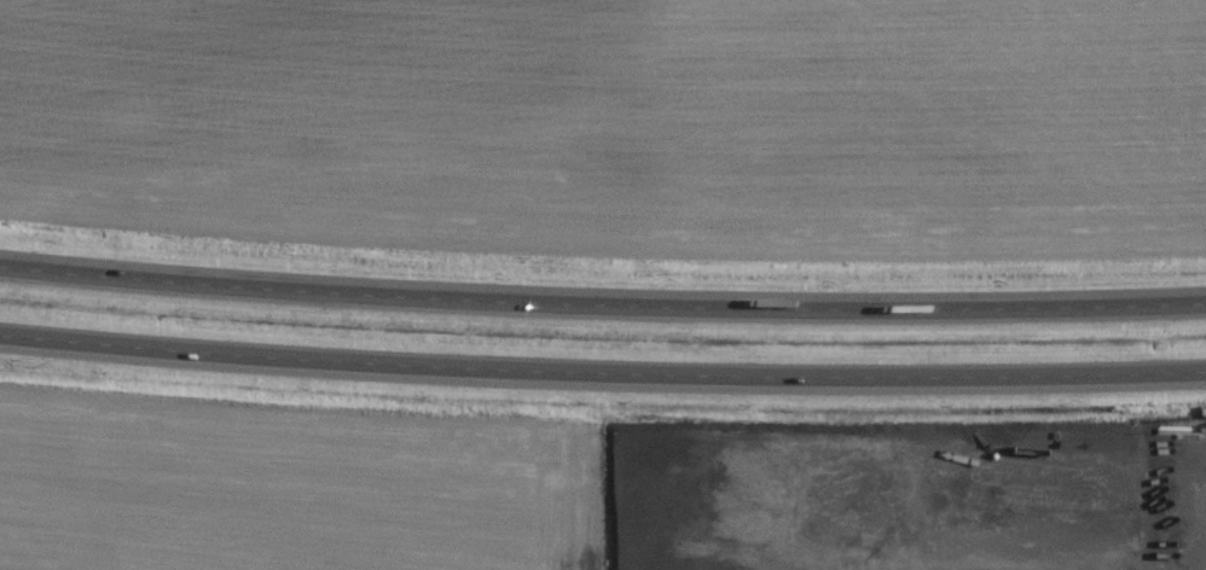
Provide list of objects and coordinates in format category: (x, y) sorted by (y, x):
road: (602, 303)
road: (602, 376)
road: (1204, 545)

